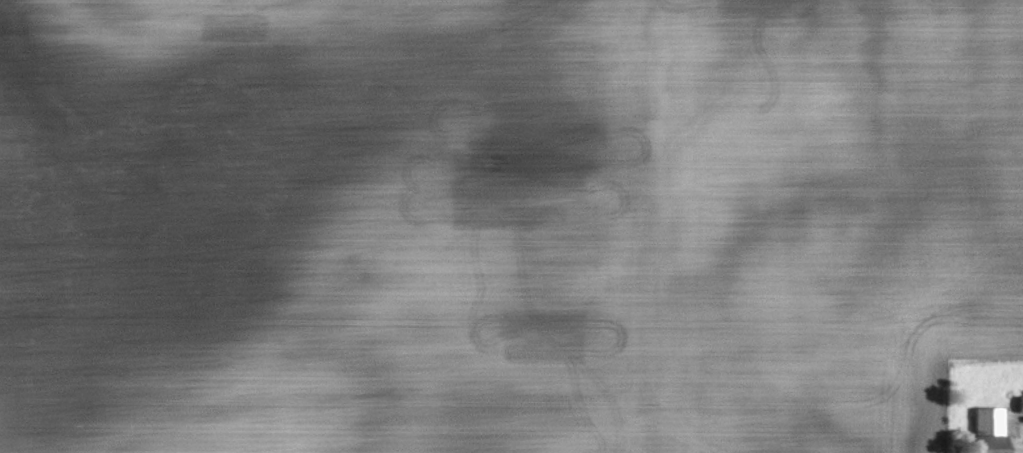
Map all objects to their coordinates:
building: (982, 420)

